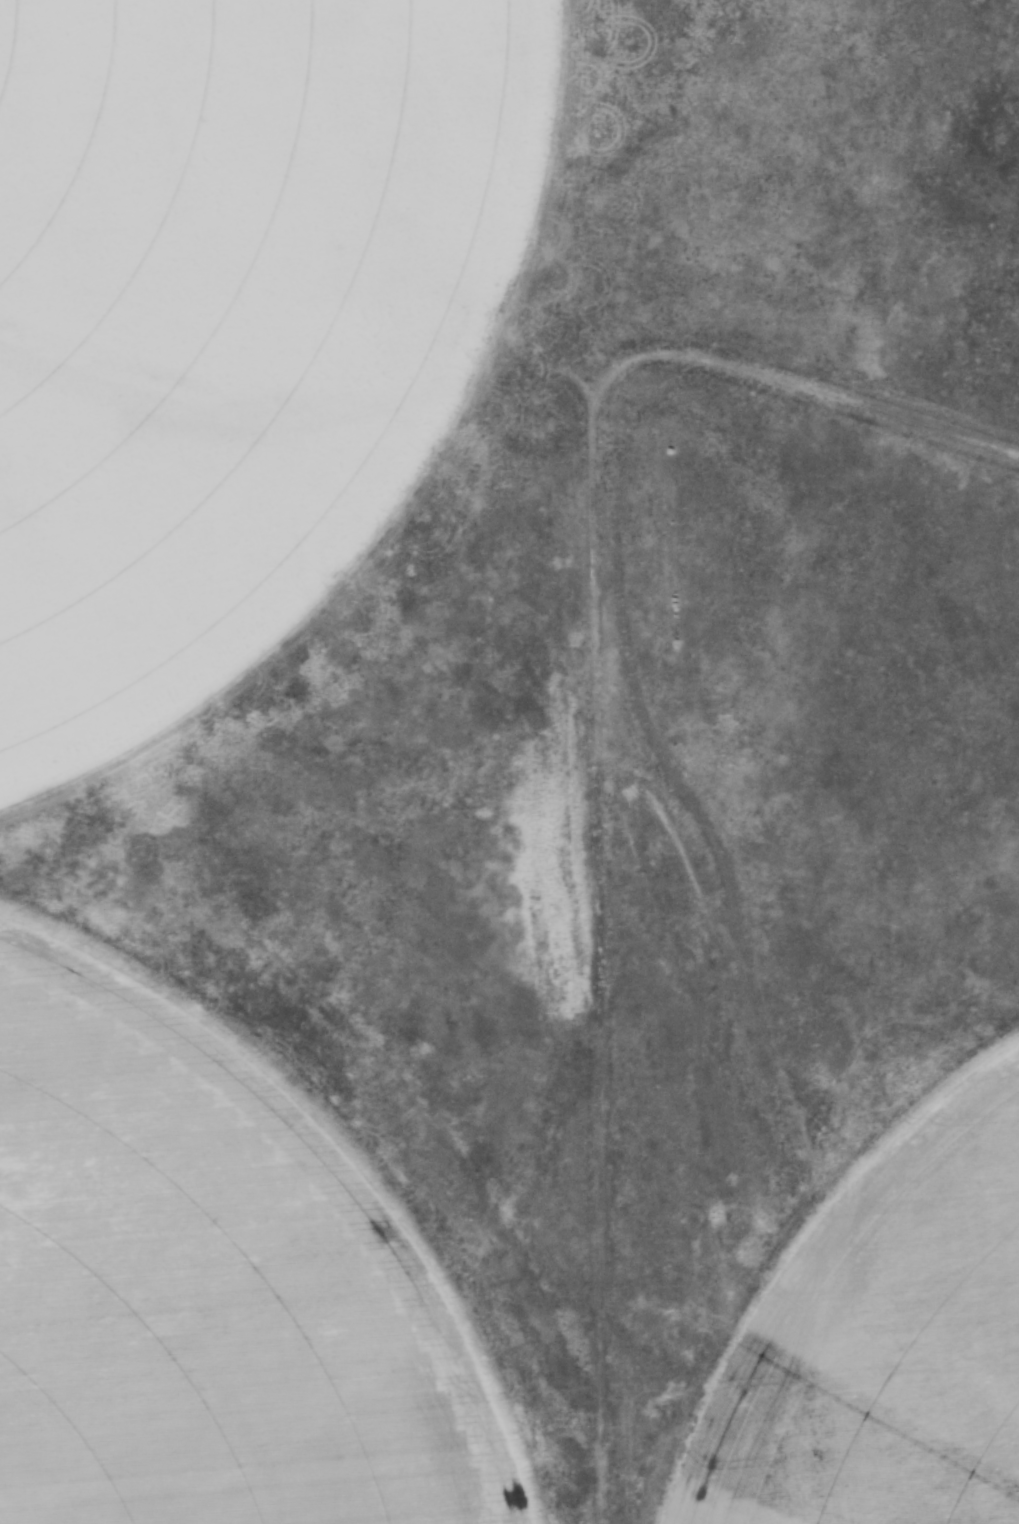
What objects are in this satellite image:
crop: (235, 328)
crop: (202, 1294)
crop: (881, 1337)

